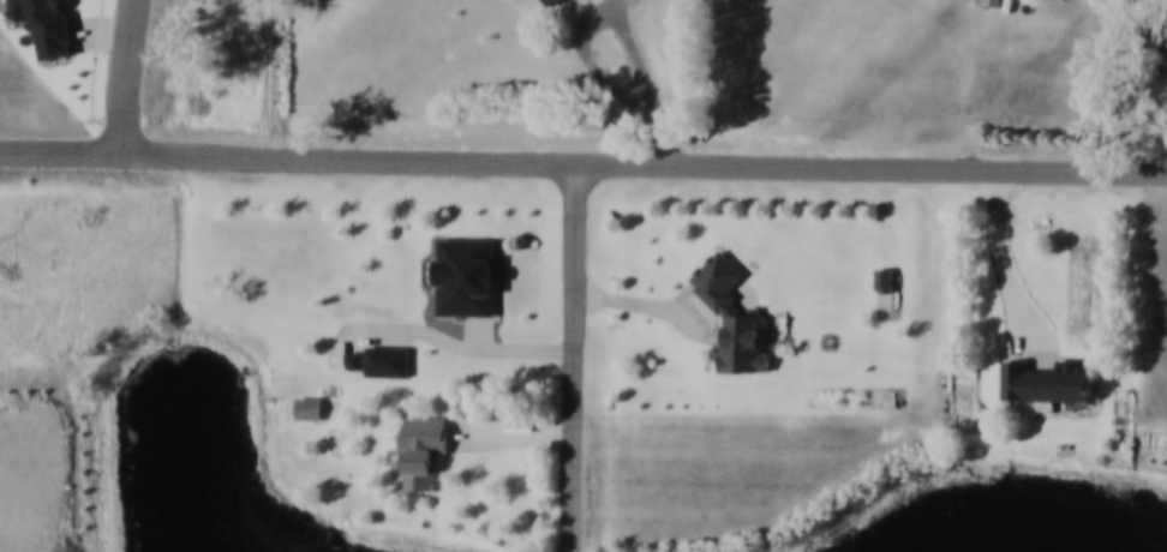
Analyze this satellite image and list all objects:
building: (551, 4)
building: (989, 5)
road: (609, 7)
building: (50, 26)
road: (101, 31)
building: (1166, 32)
road: (97, 59)
road: (120, 77)
road: (690, 82)
road: (641, 112)
road: (119, 120)
road: (669, 146)
road: (582, 163)
road: (1006, 263)
building: (467, 275)
building: (885, 277)
building: (732, 314)
road: (575, 358)
building: (383, 359)
building: (1048, 380)
building: (310, 407)
building: (423, 449)

